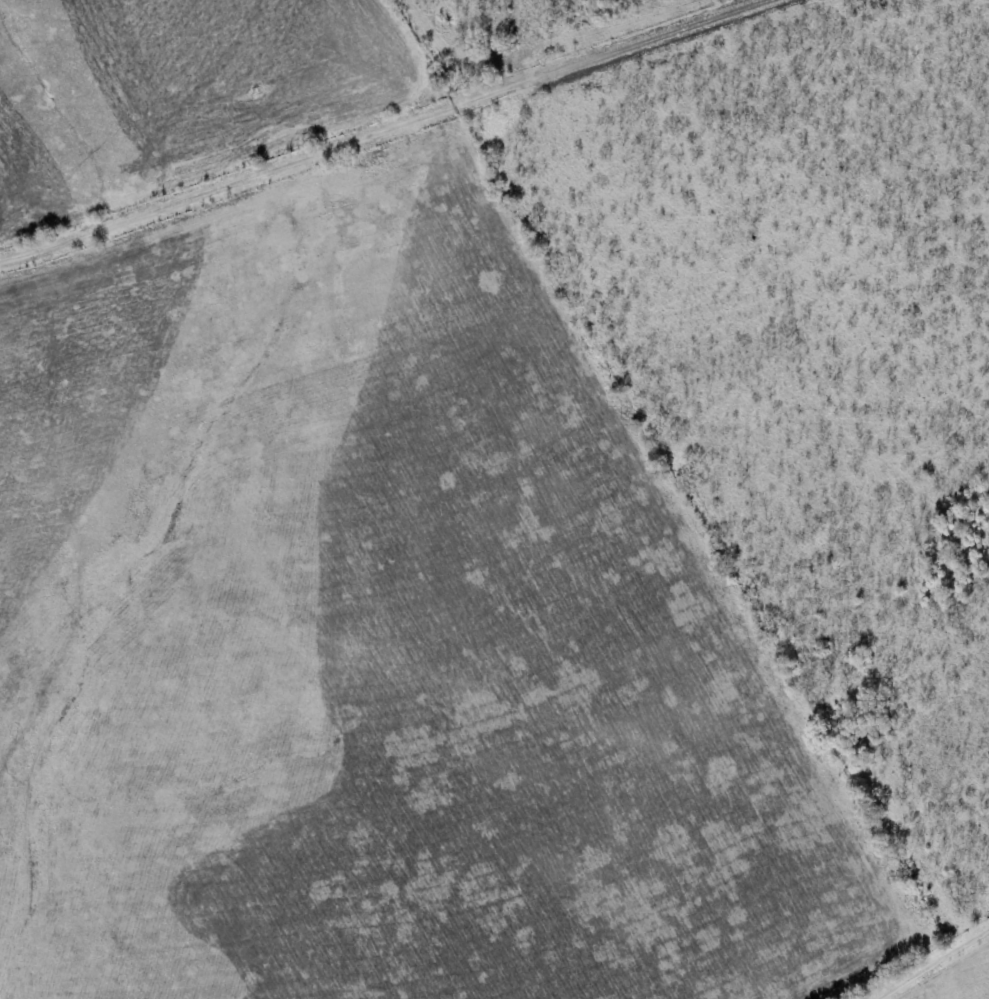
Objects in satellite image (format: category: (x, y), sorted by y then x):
road: (420, 142)

